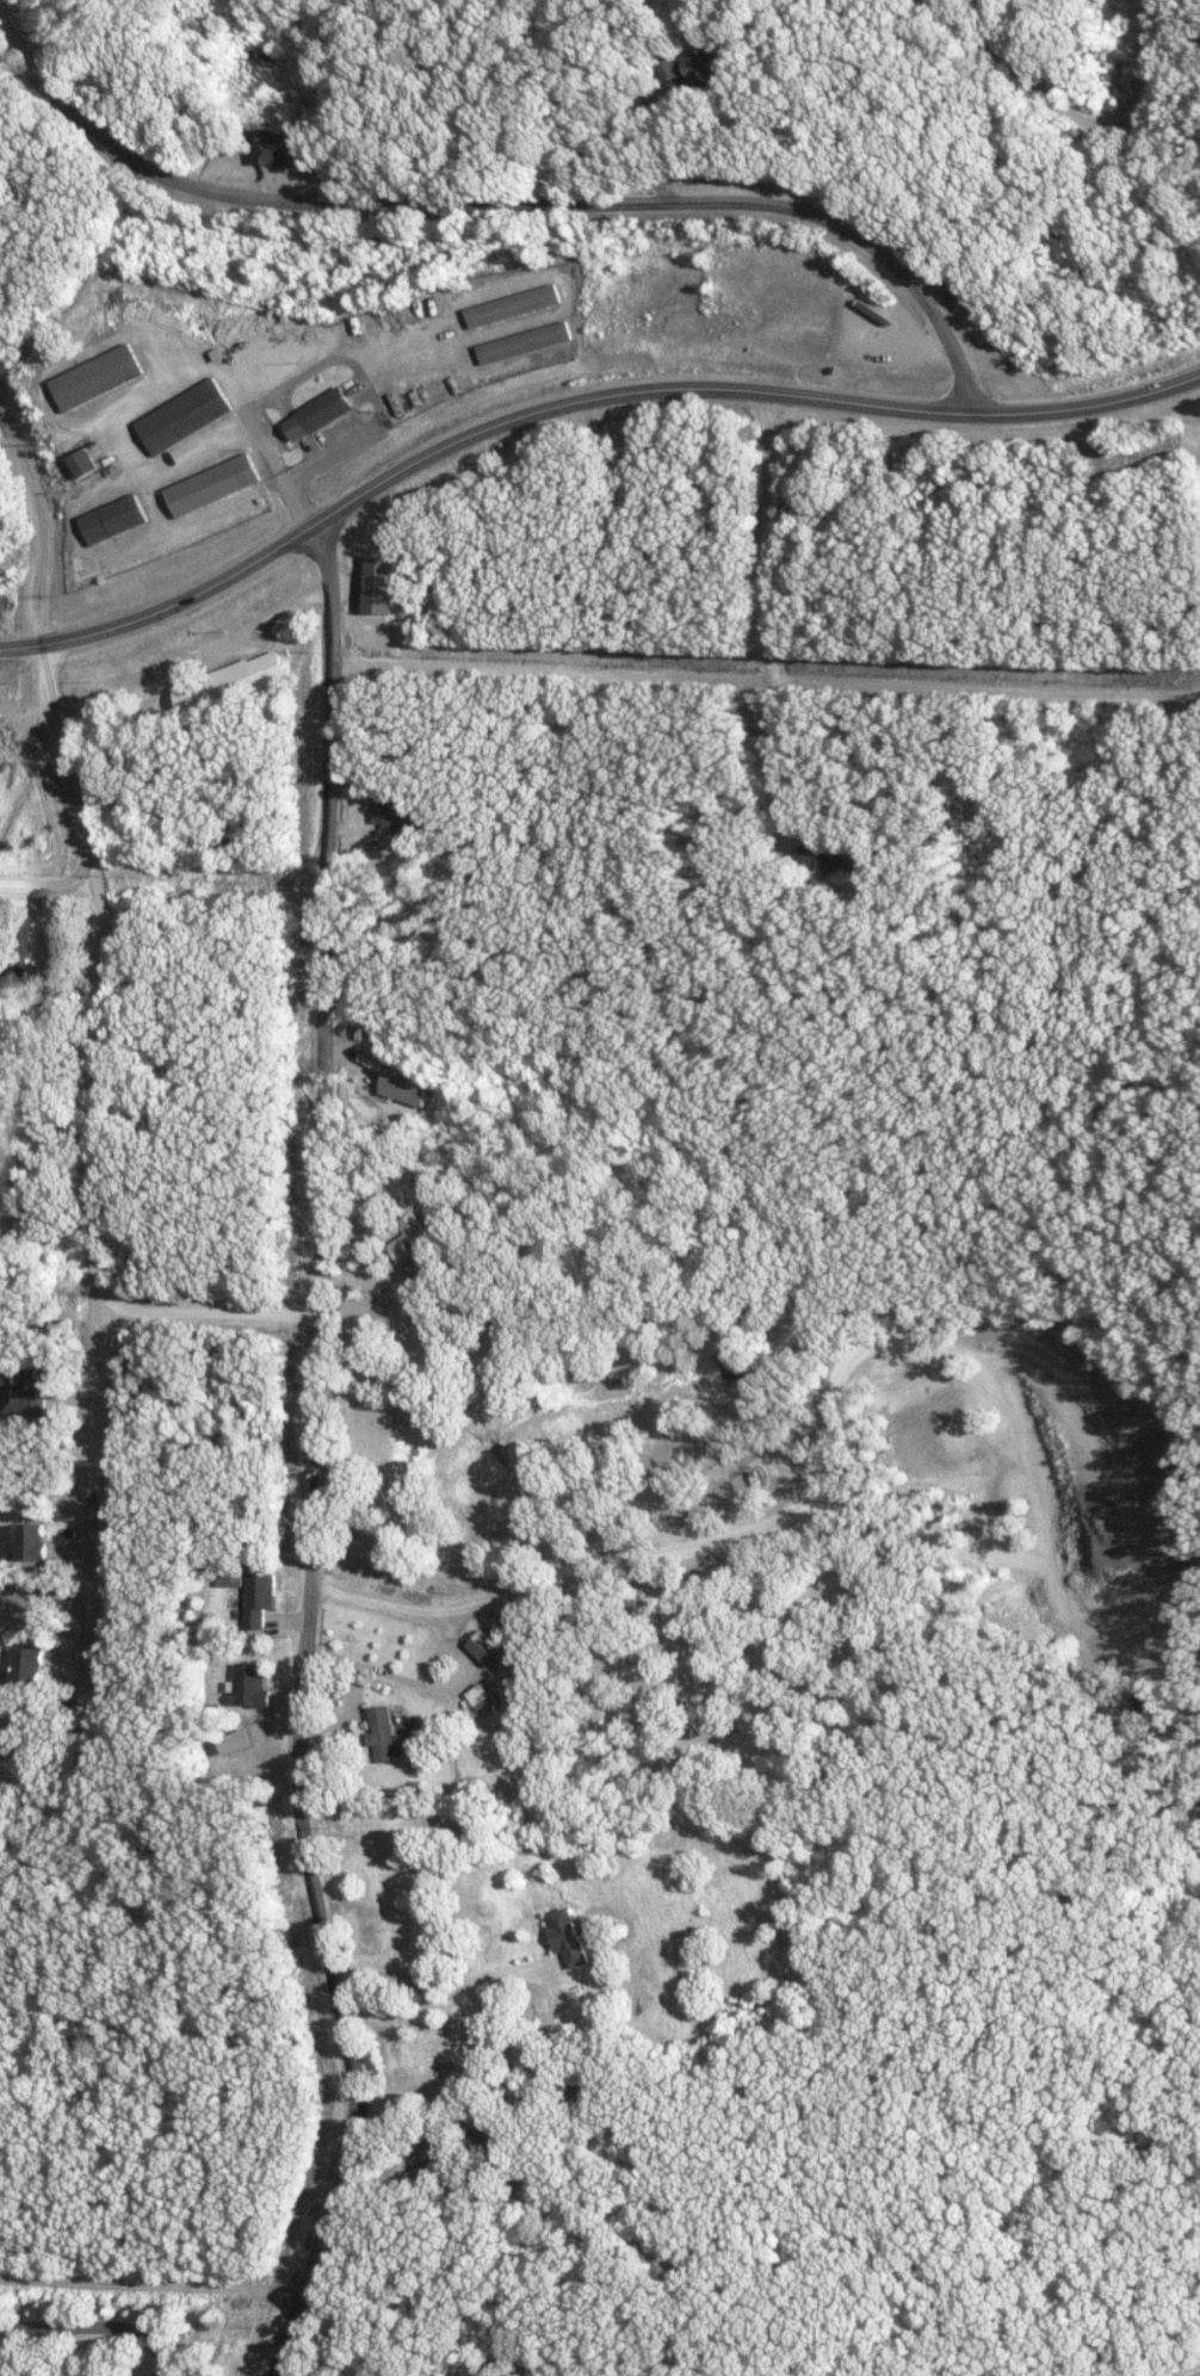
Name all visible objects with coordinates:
building: (667, 67)
building: (703, 67)
road: (1078, 113)
building: (279, 146)
road: (506, 205)
building: (512, 305)
building: (521, 341)
building: (99, 377)
road: (575, 398)
building: (318, 414)
building: (185, 415)
building: (85, 462)
building: (214, 484)
road: (45, 519)
building: (113, 519)
building: (378, 583)
road: (773, 625)
road: (766, 681)
building: (229, 682)
road: (66, 766)
building: (395, 815)
building: (828, 858)
road: (47, 892)
building: (10, 943)
building: (401, 1083)
building: (407, 1236)
road: (210, 1314)
road: (101, 1317)
building: (17, 1388)
road: (314, 1455)
building: (26, 1540)
building: (231, 1592)
building: (255, 1597)
building: (481, 1647)
building: (24, 1664)
road: (457, 1667)
building: (247, 1684)
building: (475, 1695)
road: (346, 1721)
building: (379, 1732)
building: (234, 1740)
building: (565, 1935)
road: (432, 1975)
building: (423, 2153)
road: (97, 2333)

